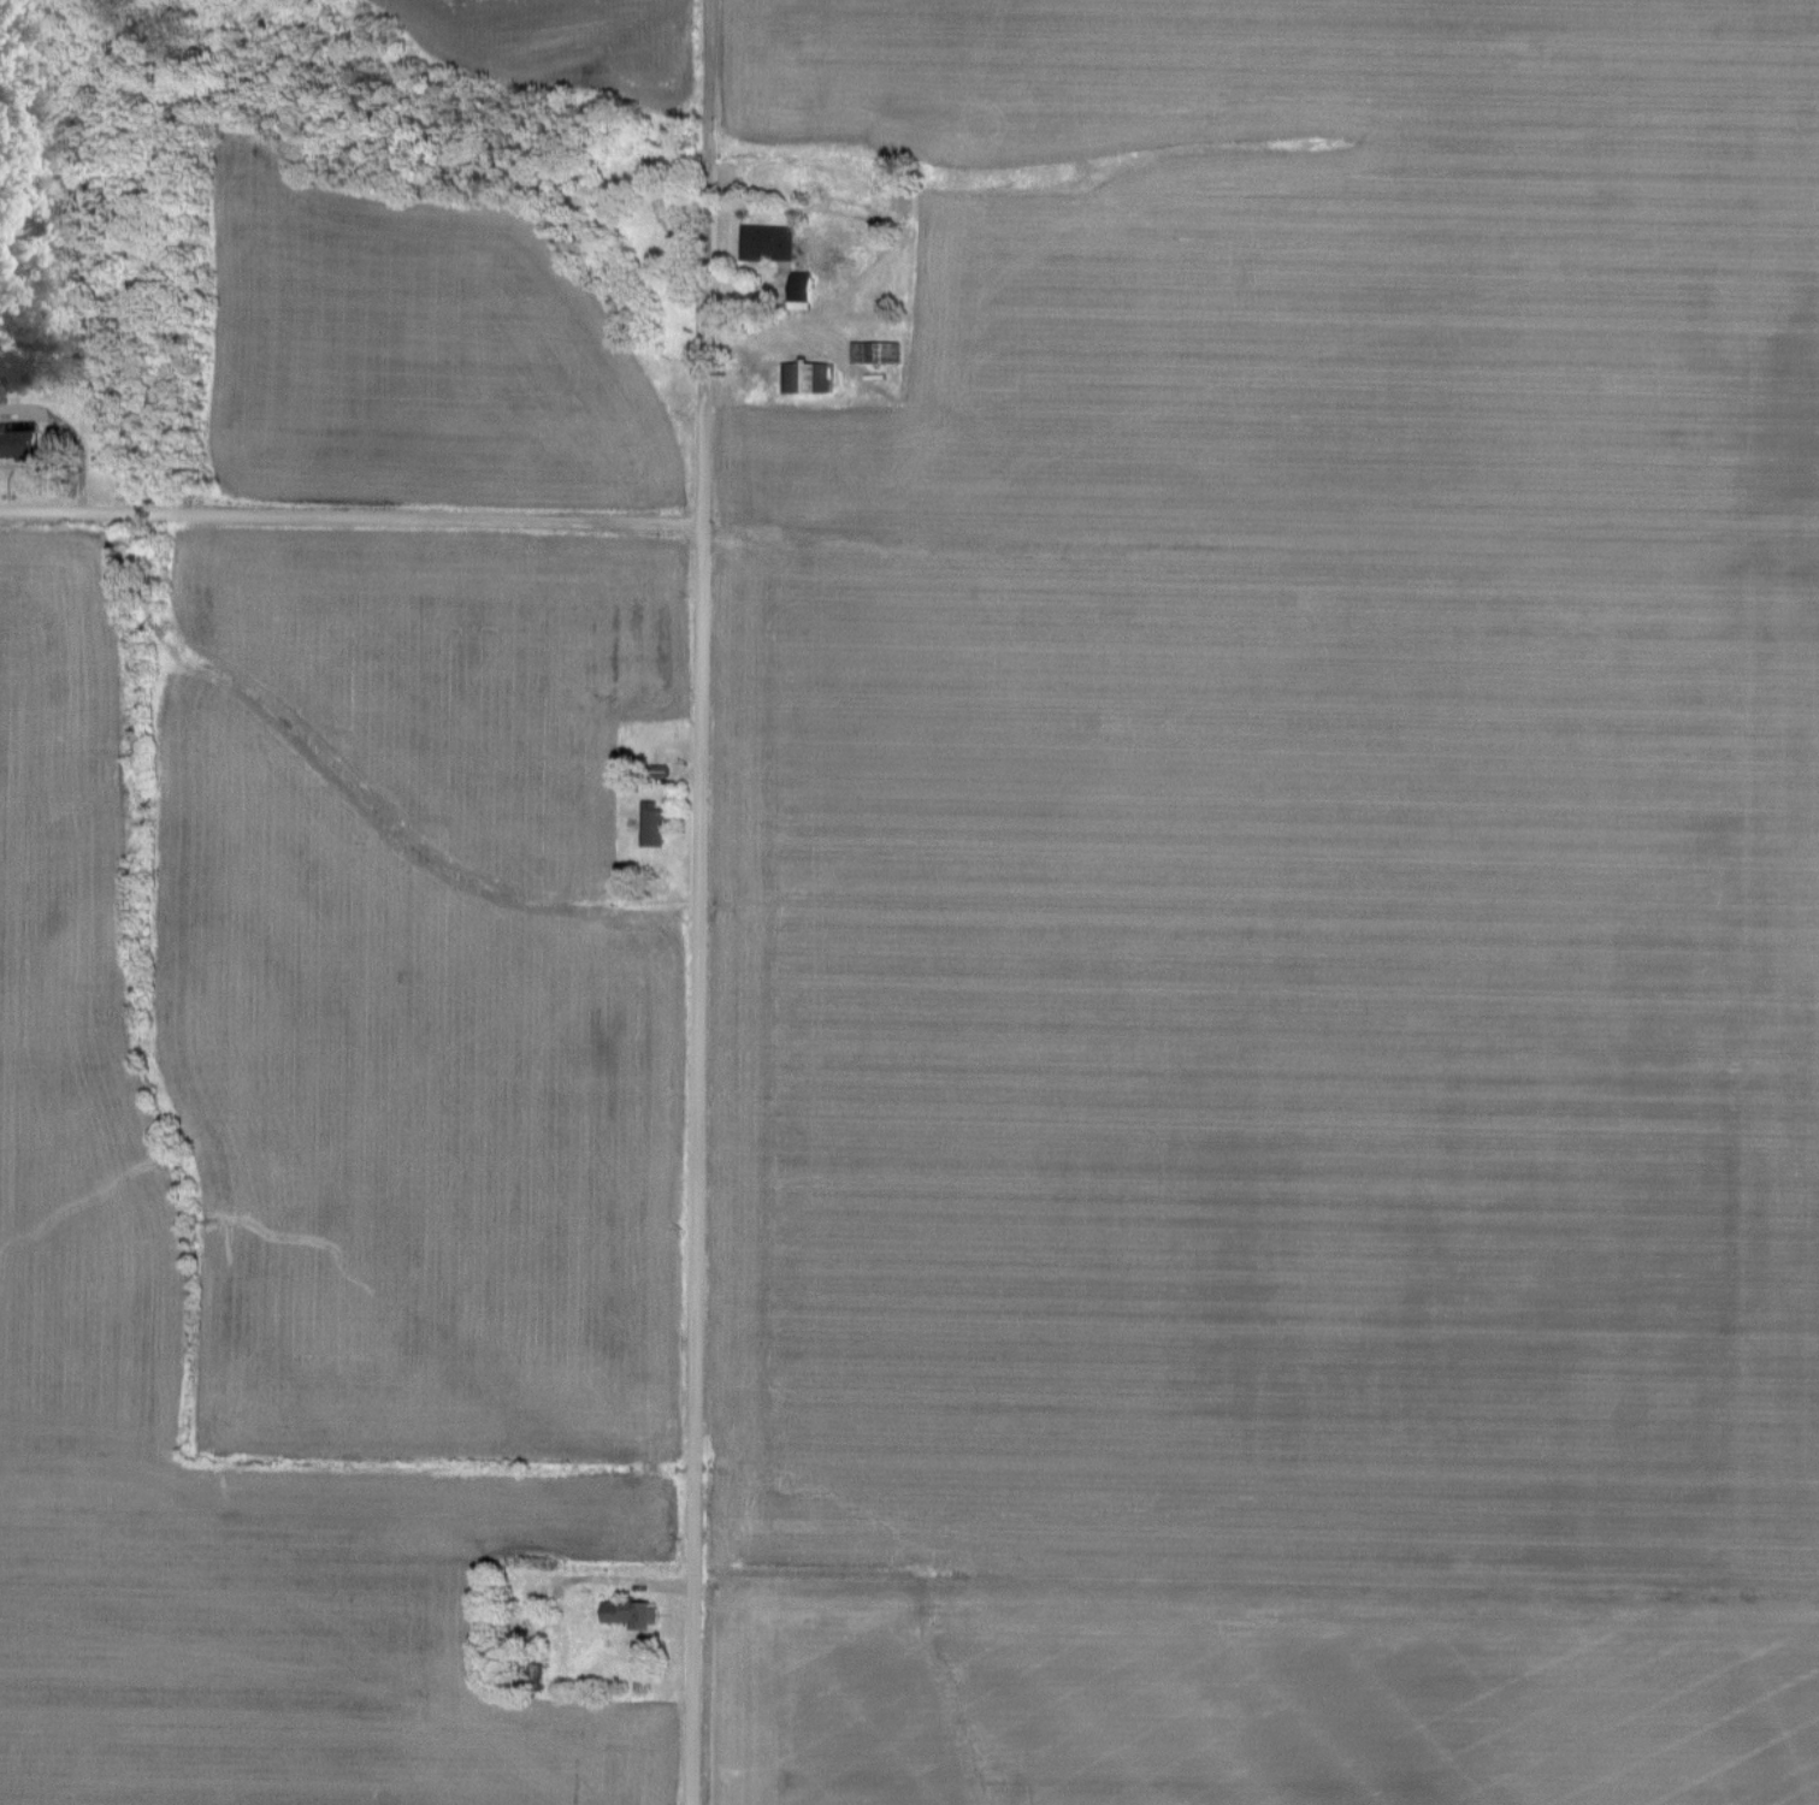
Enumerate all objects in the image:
building: (764, 239)
building: (803, 375)
building: (10, 443)
road: (352, 517)
road: (699, 901)

